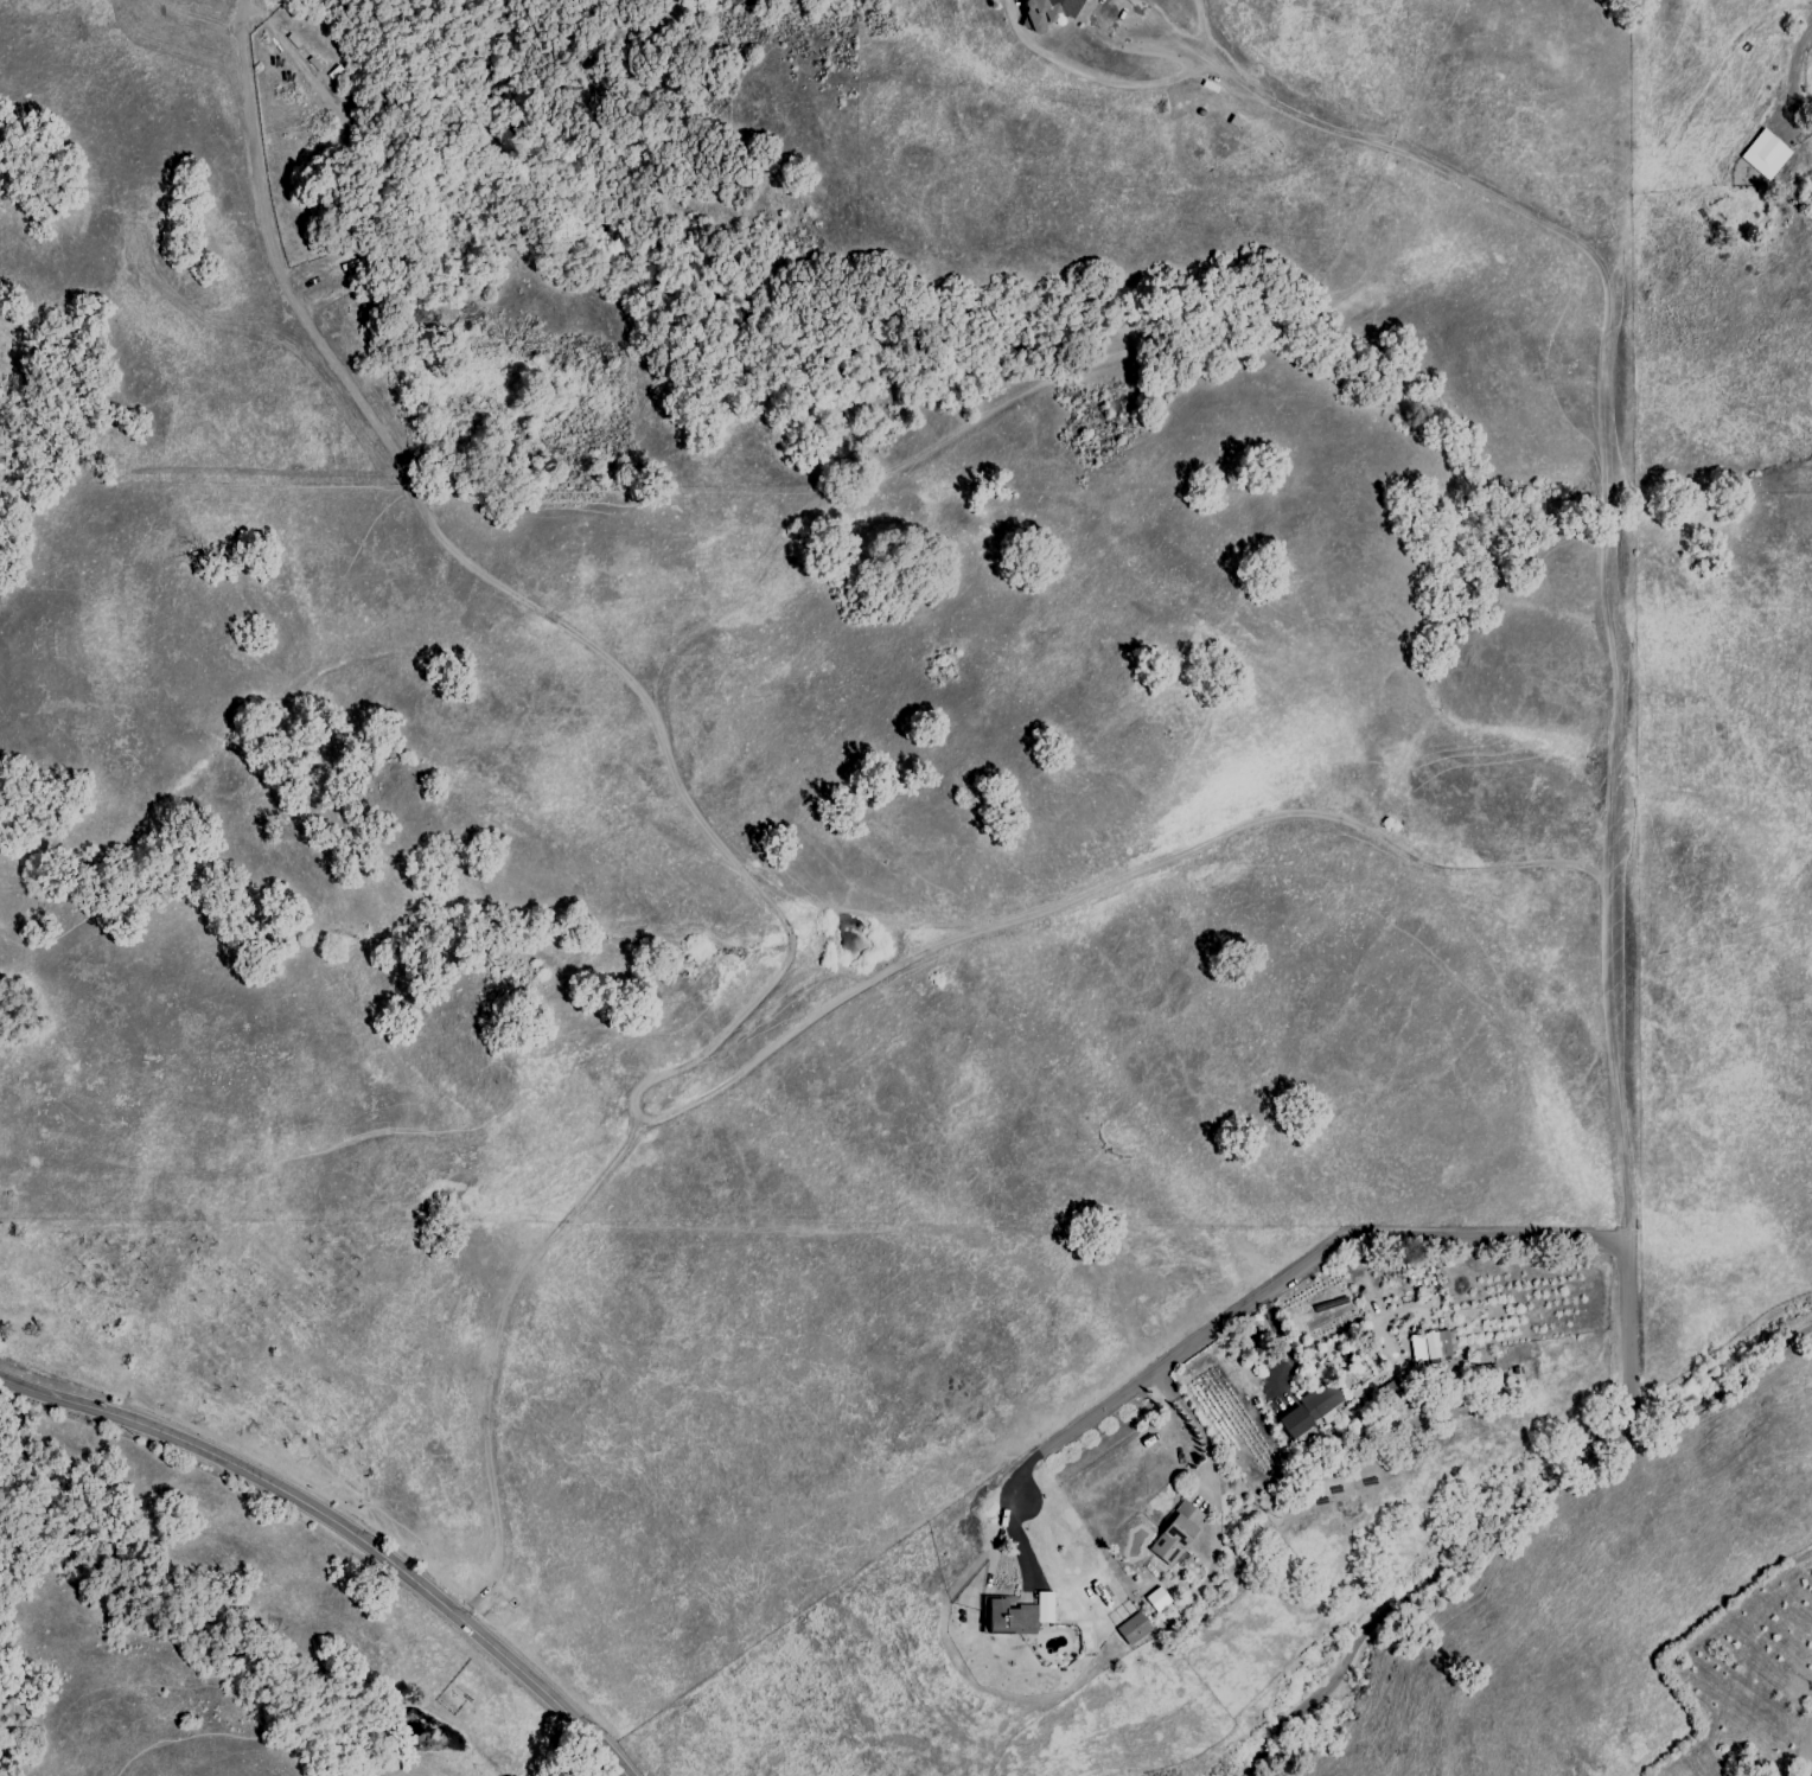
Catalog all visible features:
building: (1057, 12)
road: (1201, 28)
road: (1091, 75)
building: (1762, 159)
road: (1785, 179)
road: (1608, 620)
road: (741, 1009)
road: (1255, 1298)
building: (1430, 1344)
building: (1312, 1410)
road: (1187, 1422)
road: (1507, 1519)
road: (344, 1528)
building: (1169, 1534)
building: (1155, 1598)
building: (1015, 1614)
building: (1131, 1628)
road: (1810, 1772)

